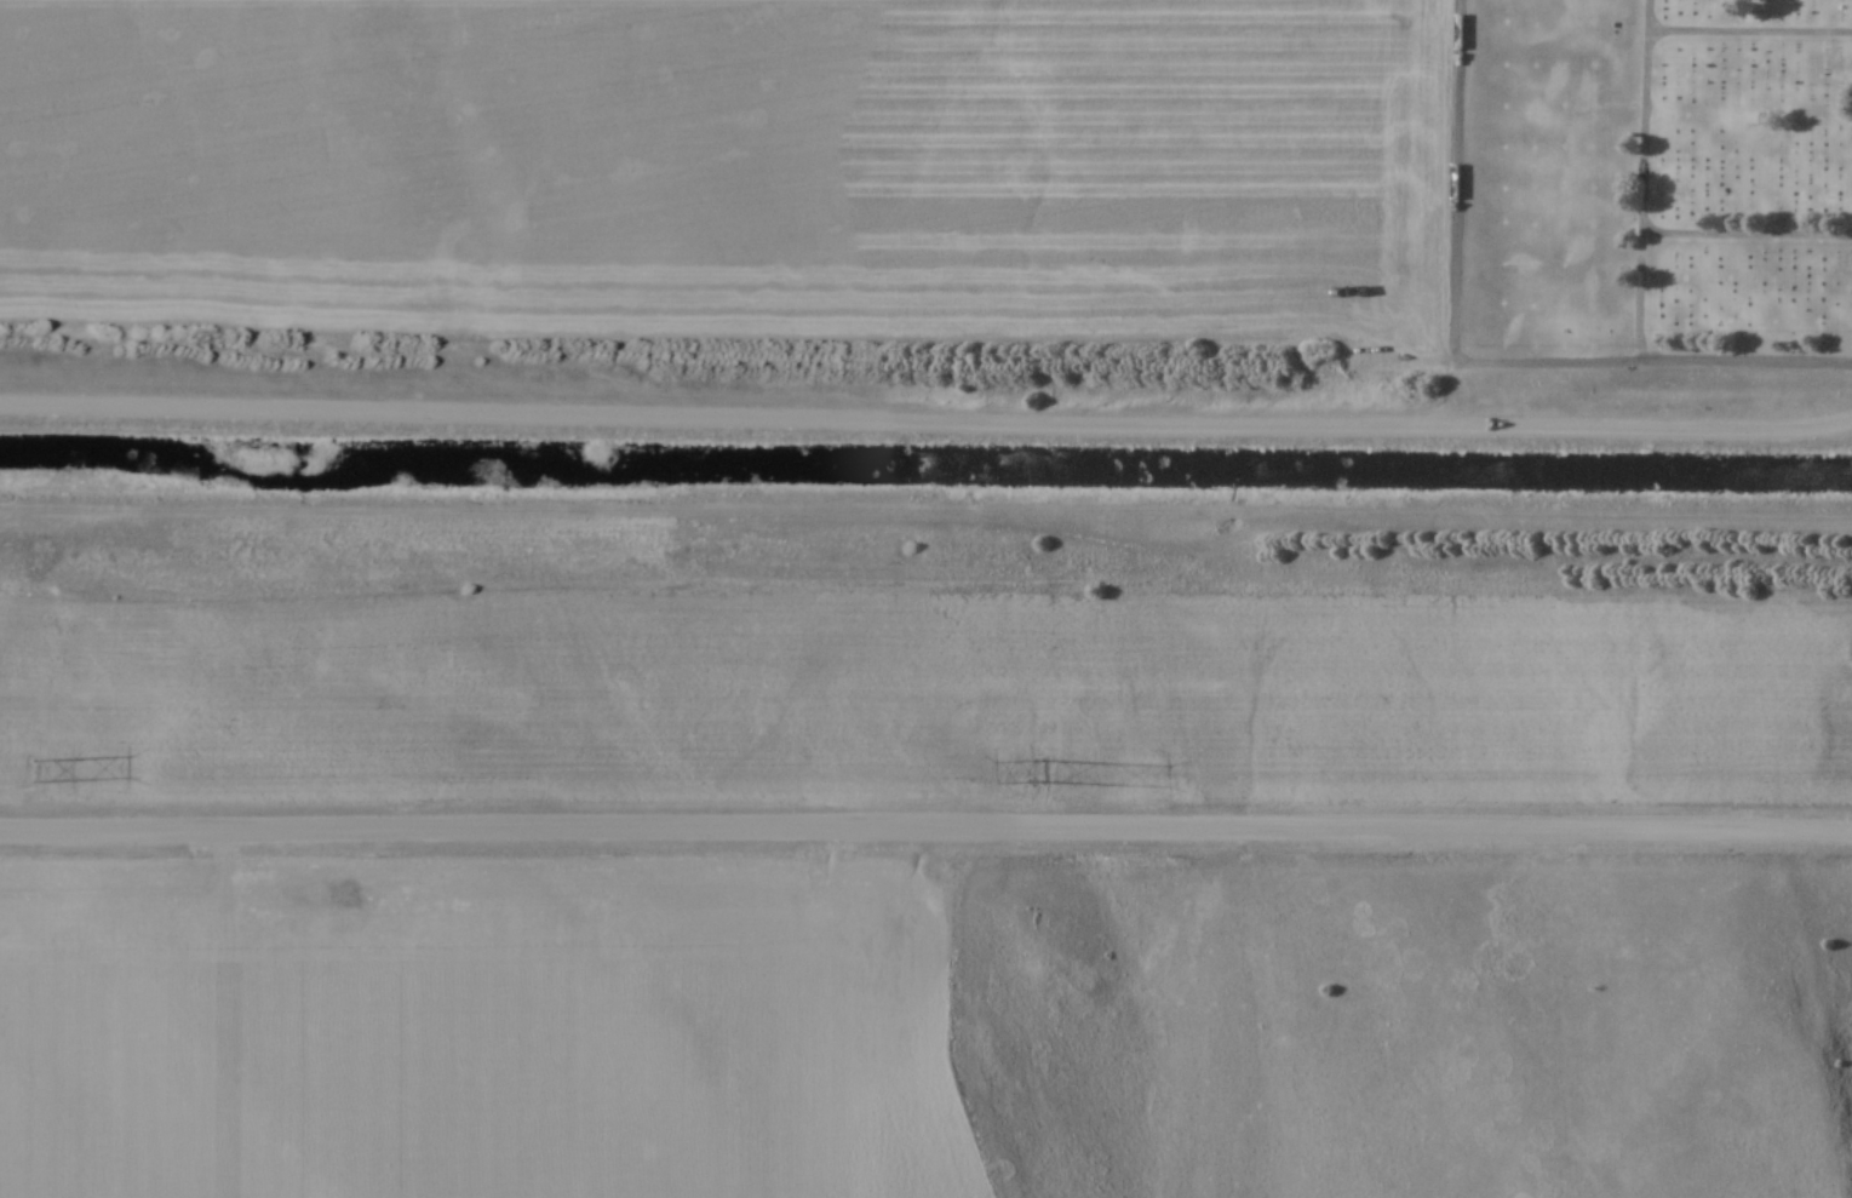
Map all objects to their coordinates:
park: (1747, 179)
road: (927, 417)
power tower: (1039, 772)
power tower: (33, 773)
road: (925, 827)

